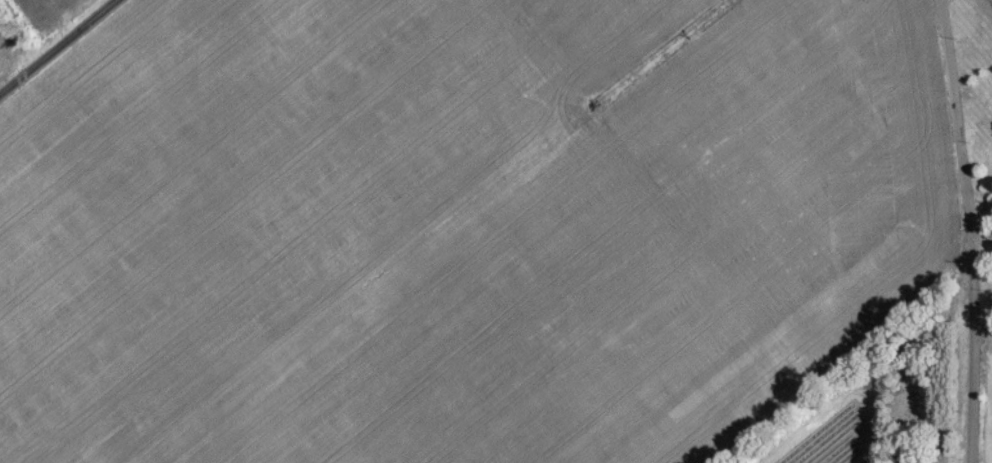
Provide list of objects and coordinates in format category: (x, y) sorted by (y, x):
road: (983, 8)
road: (69, 56)
road: (943, 231)

